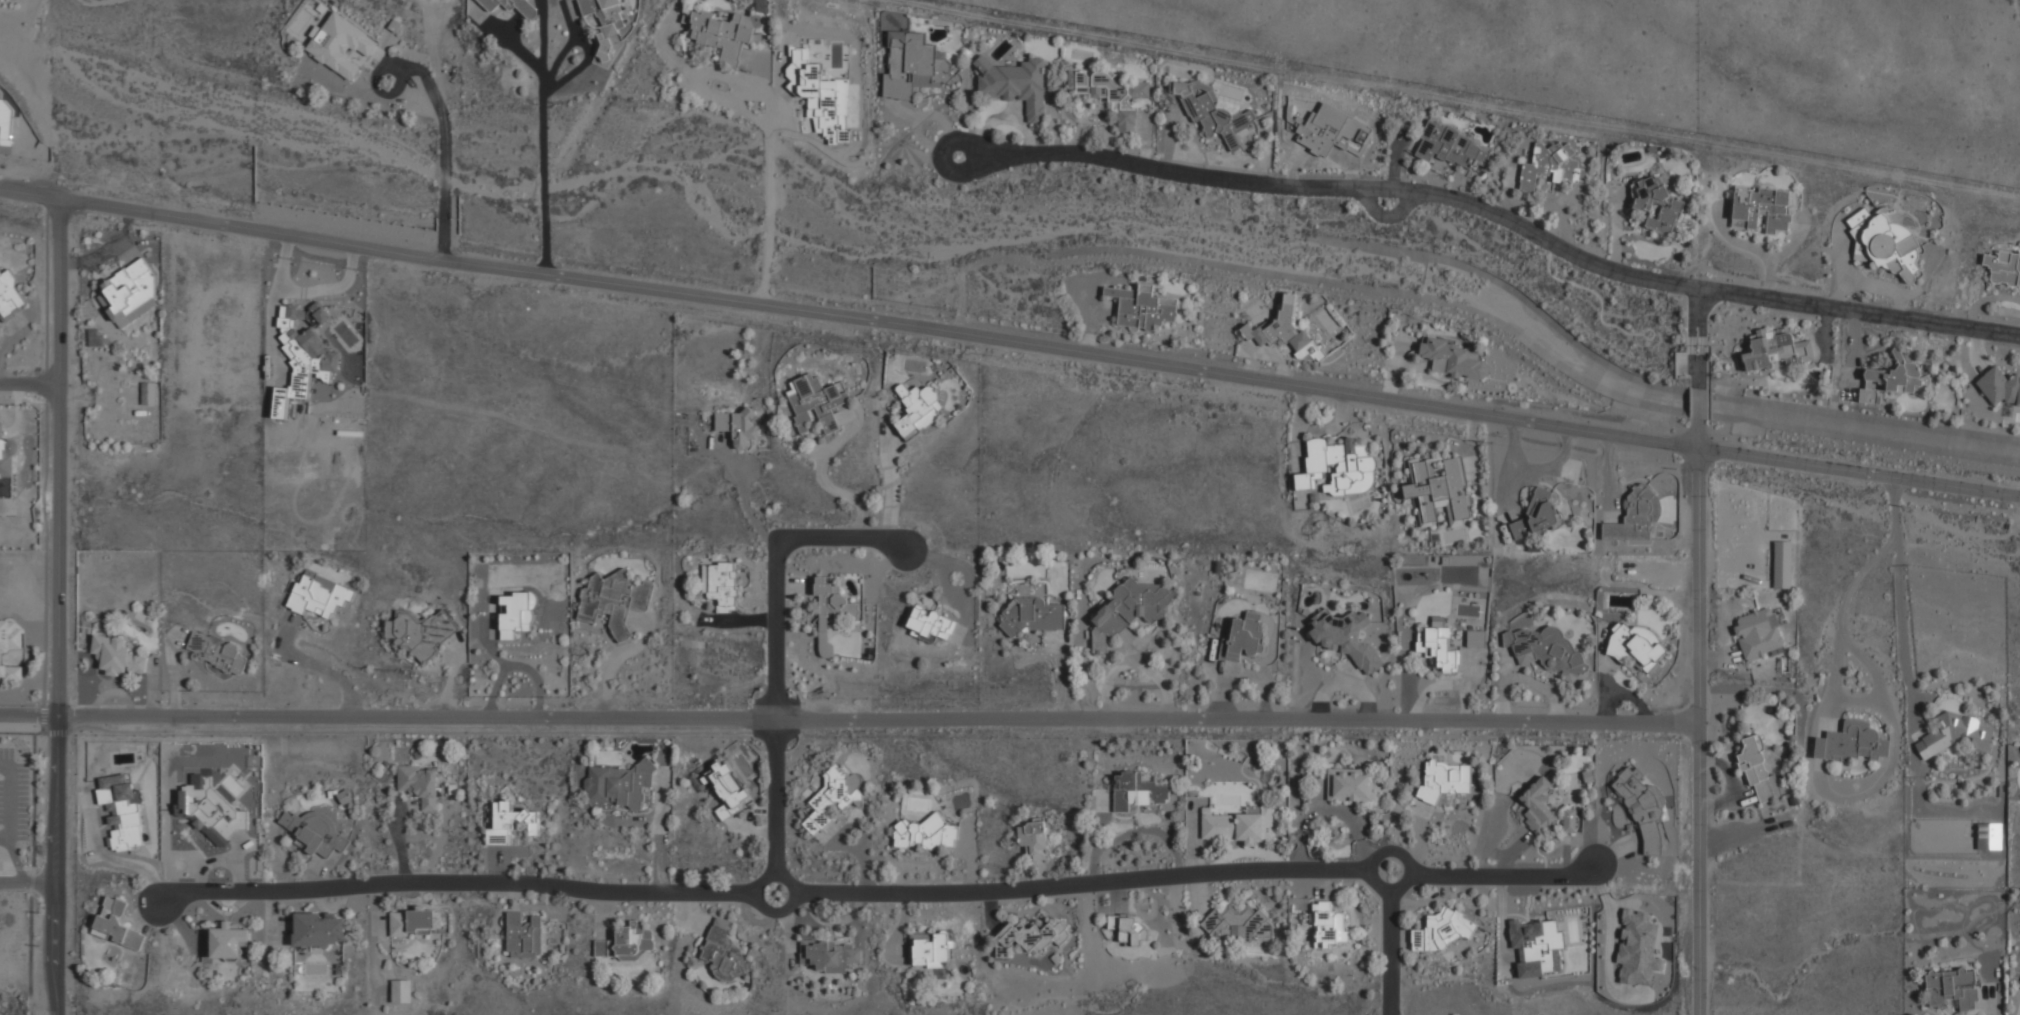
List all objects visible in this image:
building: (511, 6)
building: (605, 13)
building: (722, 34)
building: (341, 44)
road: (389, 59)
building: (913, 65)
building: (1014, 84)
building: (1111, 93)
building: (820, 96)
building: (1213, 114)
road: (442, 128)
building: (1329, 130)
road: (537, 138)
building: (1450, 146)
road: (770, 165)
building: (1552, 165)
building: (1656, 205)
building: (1760, 208)
road: (1495, 211)
road: (440, 239)
building: (1884, 243)
building: (2003, 267)
building: (129, 294)
building: (9, 297)
building: (1142, 307)
building: (1286, 331)
road: (1700, 336)
road: (1009, 347)
building: (1774, 349)
building: (303, 354)
building: (1452, 358)
building: (1890, 379)
road: (29, 386)
building: (2000, 387)
building: (148, 393)
building: (815, 401)
road: (1701, 403)
building: (918, 408)
building: (737, 427)
building: (9, 466)
building: (1338, 467)
building: (1439, 491)
road: (890, 494)
building: (1535, 515)
building: (1632, 516)
building: (1781, 565)
building: (720, 585)
building: (318, 595)
road: (1901, 598)
building: (613, 600)
road: (57, 609)
building: (830, 609)
building: (1129, 610)
building: (1031, 616)
building: (929, 625)
building: (418, 632)
building: (1758, 635)
building: (1345, 637)
building: (1242, 638)
building: (1475, 638)
building: (1437, 645)
building: (1635, 646)
road: (775, 649)
building: (1545, 649)
building: (11, 651)
building: (217, 653)
building: (116, 655)
road: (1705, 716)
road: (852, 717)
building: (1954, 734)
building: (1851, 743)
building: (1757, 769)
building: (1444, 780)
building: (418, 784)
building: (617, 784)
building: (1349, 785)
building: (726, 790)
building: (1136, 792)
parking lot: (12, 796)
building: (344, 796)
building: (832, 796)
road: (9, 803)
building: (1537, 806)
building: (1641, 806)
building: (209, 810)
building: (121, 812)
building: (1569, 820)
building: (509, 823)
building: (1238, 825)
building: (315, 832)
building: (925, 833)
building: (1988, 836)
building: (1033, 839)
road: (17, 862)
road: (28, 883)
road: (879, 893)
building: (416, 922)
building: (116, 924)
building: (1237, 924)
building: (1326, 924)
building: (317, 929)
building: (1127, 929)
building: (1441, 930)
building: (523, 936)
building: (1033, 936)
building: (227, 941)
road: (1393, 942)
building: (625, 943)
building: (1534, 945)
building: (930, 947)
building: (1636, 947)
building: (723, 952)
building: (830, 955)
building: (1951, 988)
building: (401, 991)

